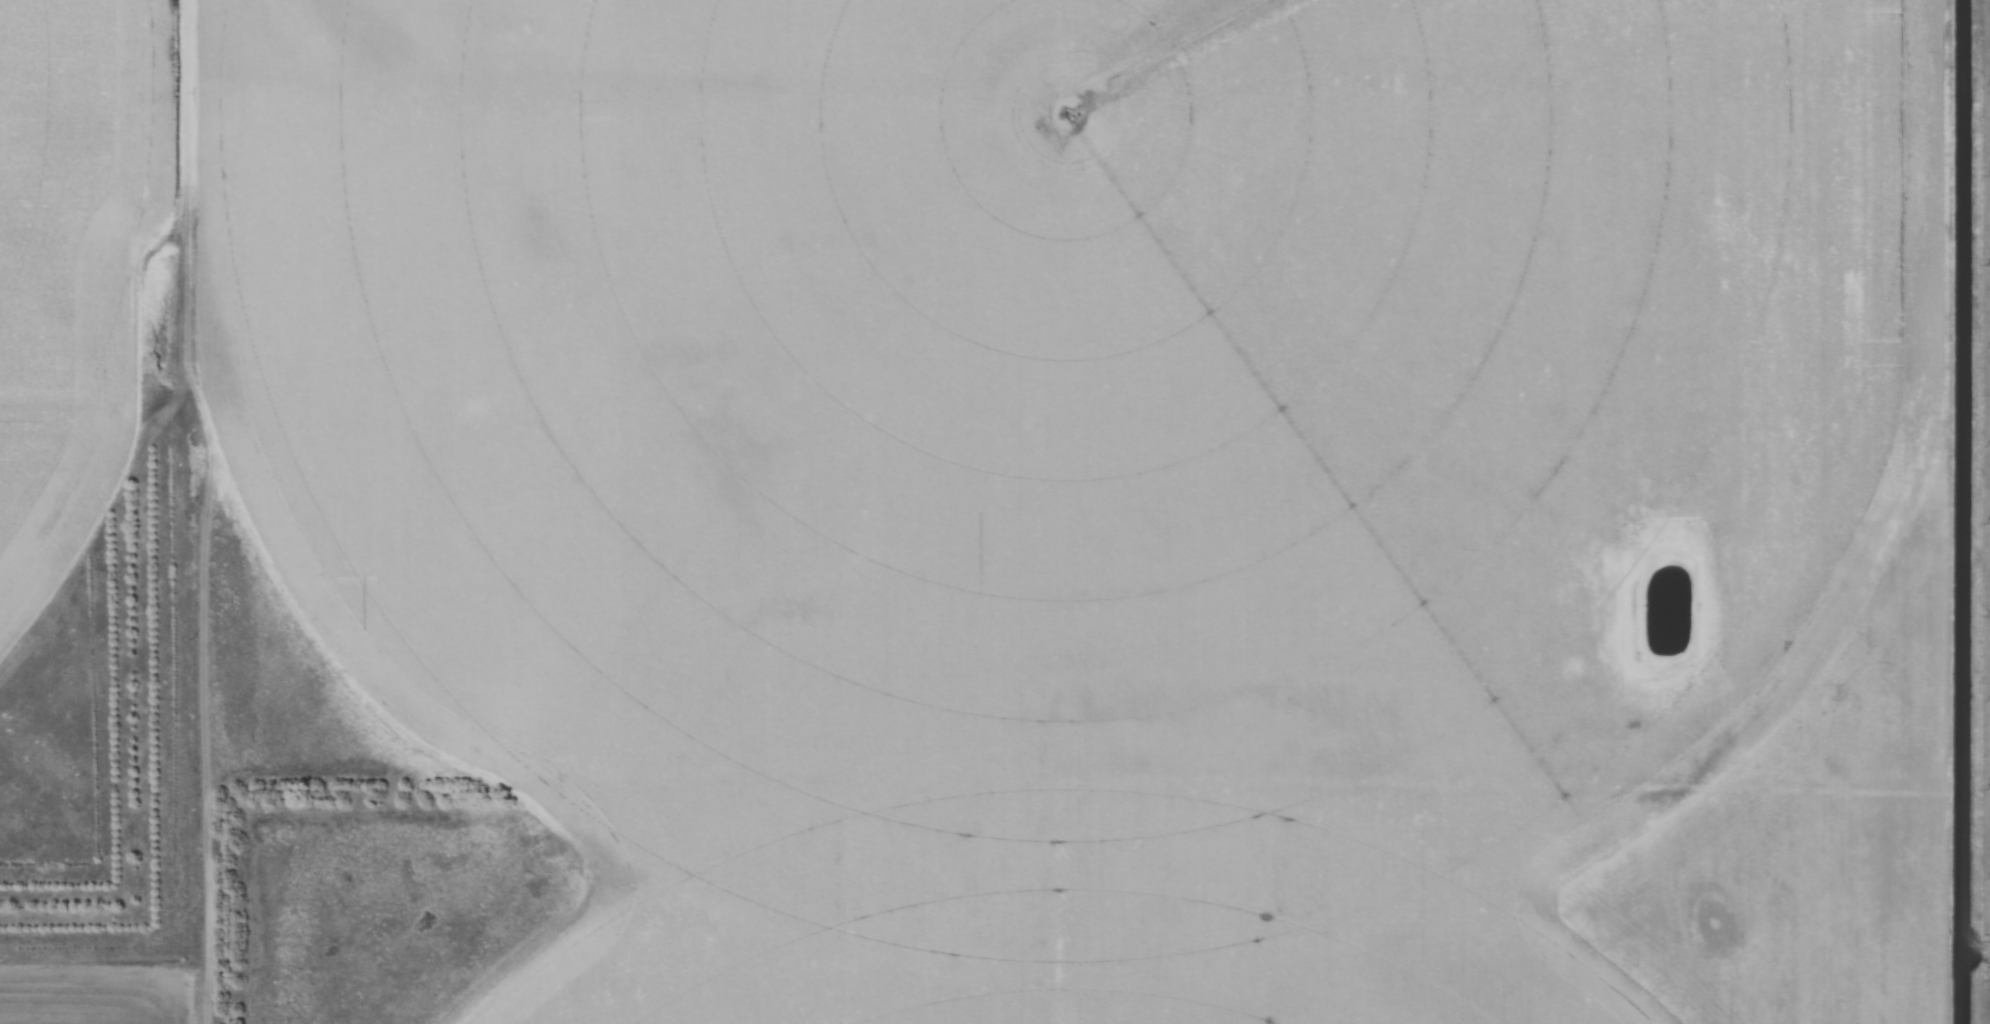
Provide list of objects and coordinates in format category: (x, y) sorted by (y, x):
road: (1963, 511)
road: (1975, 953)

